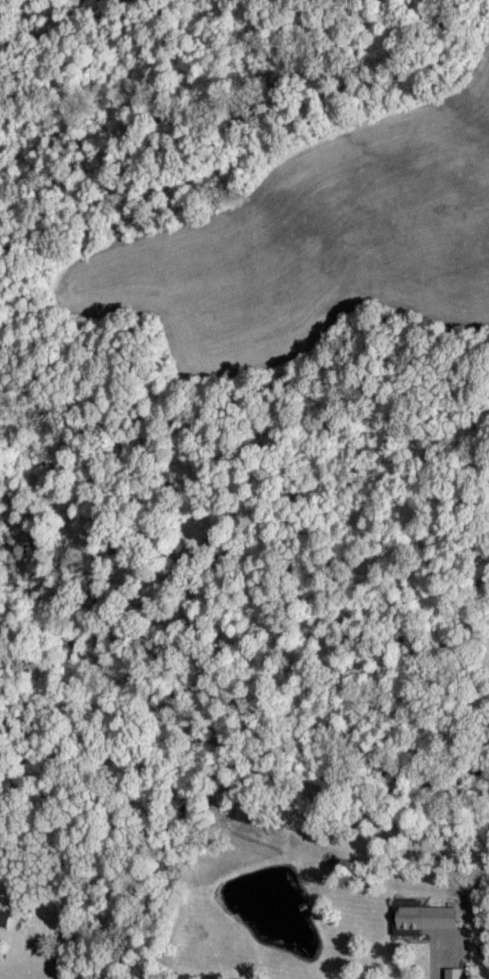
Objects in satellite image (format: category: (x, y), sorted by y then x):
building: (3, 919)
building: (422, 920)
road: (449, 943)
building: (451, 974)

